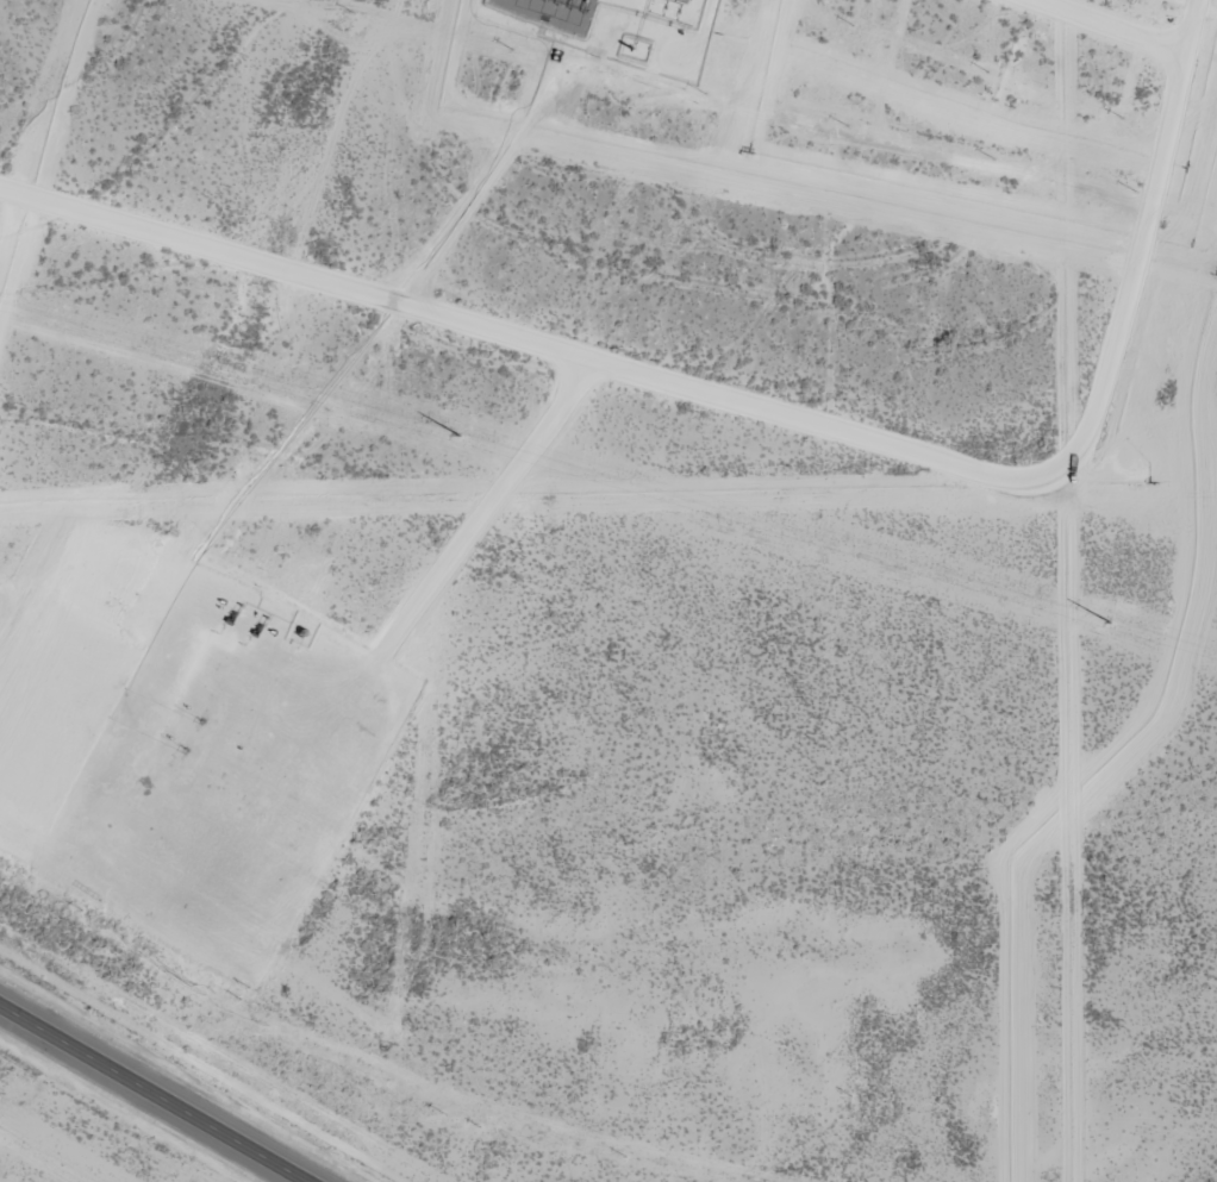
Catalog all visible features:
road: (766, 407)
road: (154, 1093)

